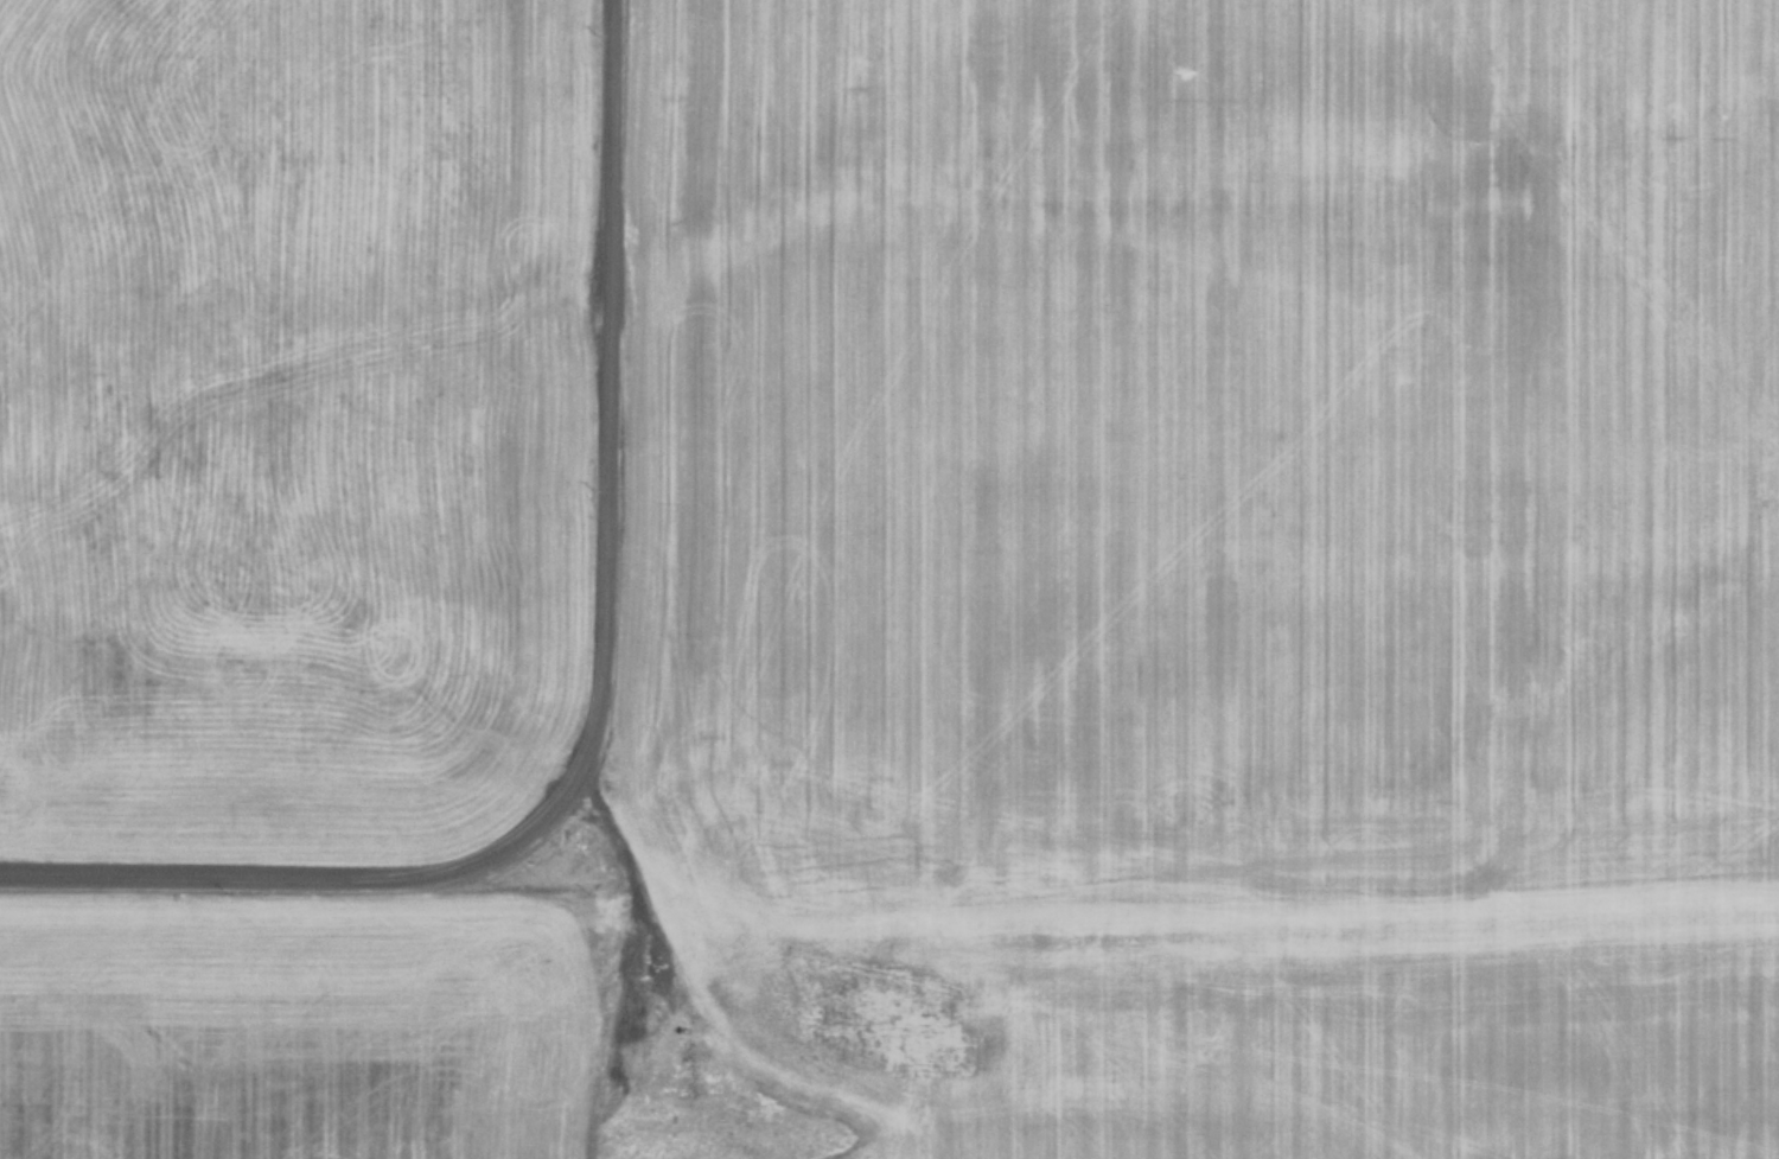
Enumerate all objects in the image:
road: (612, 415)
road: (289, 894)

